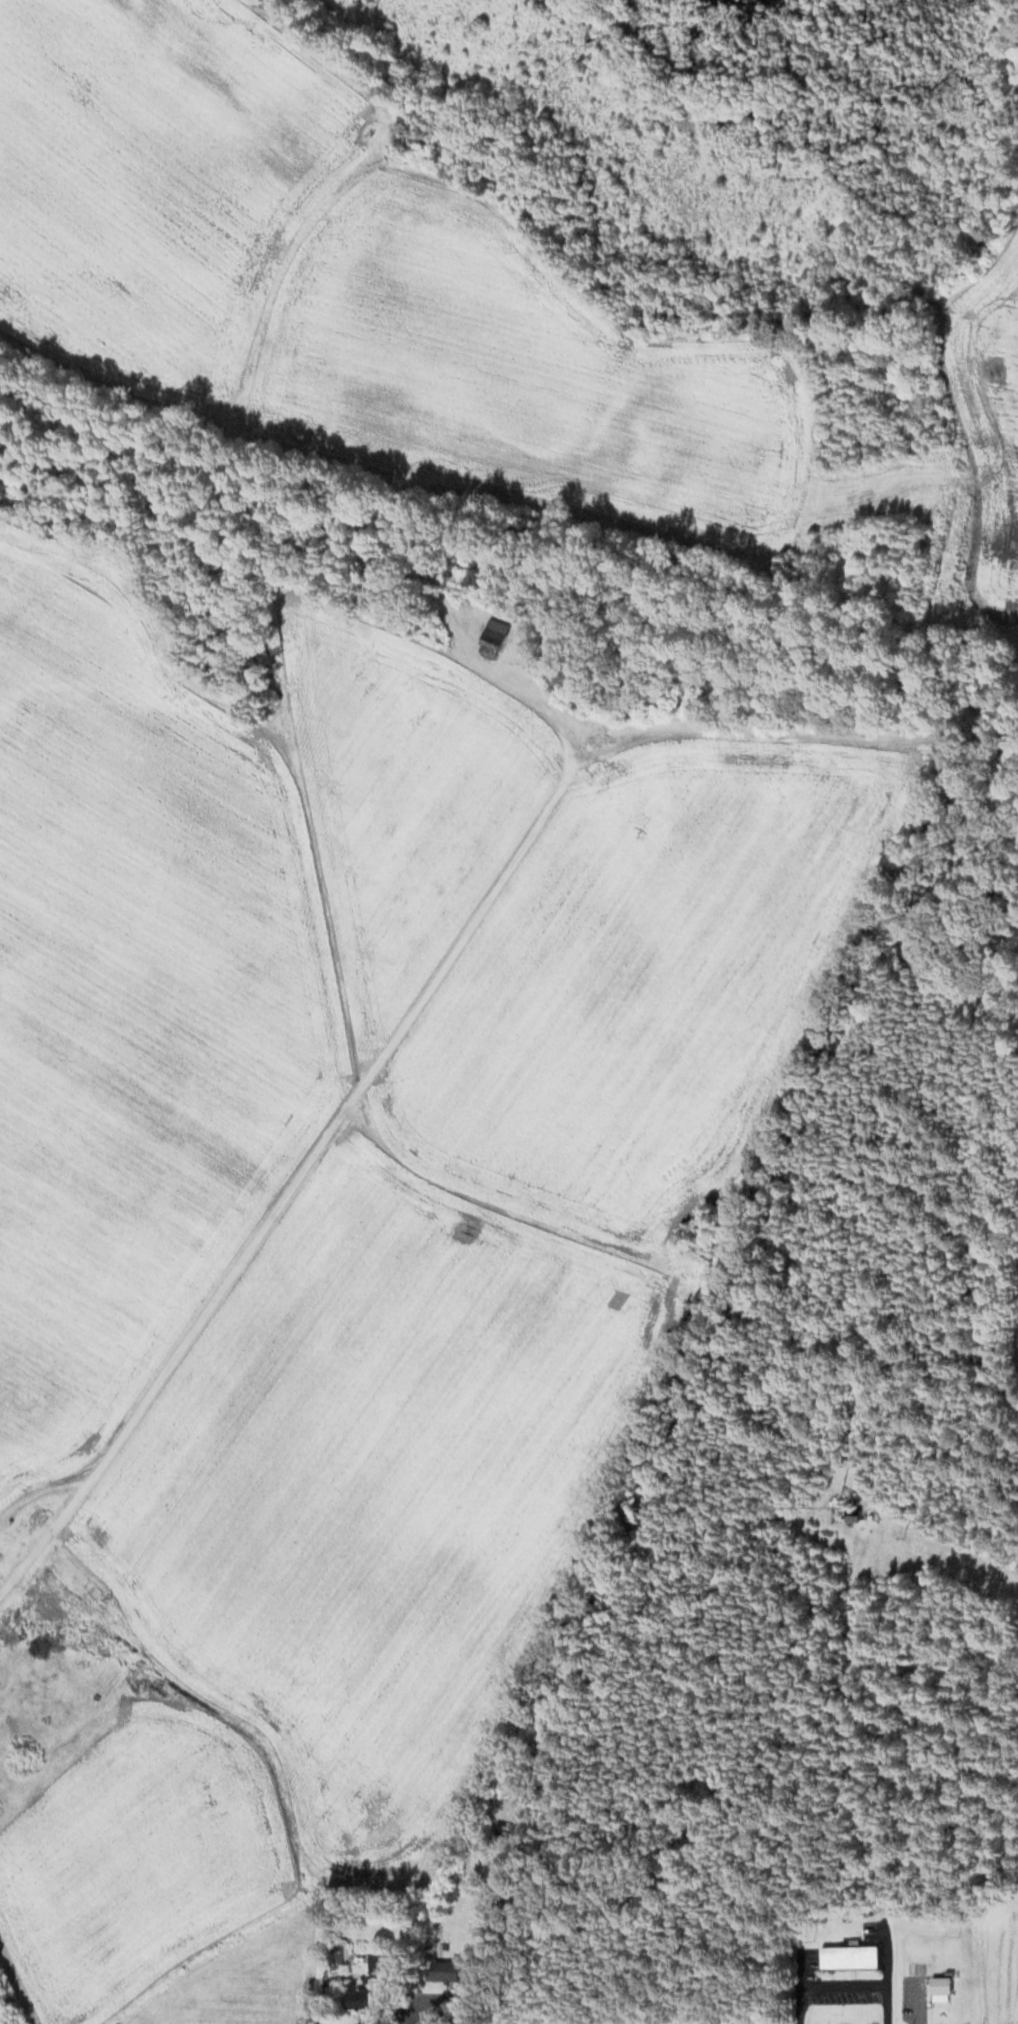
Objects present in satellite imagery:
building: (490, 638)
road: (421, 989)
building: (850, 1514)
building: (90, 1636)
building: (502, 1830)
building: (848, 1956)
building: (367, 1981)
building: (939, 1988)

